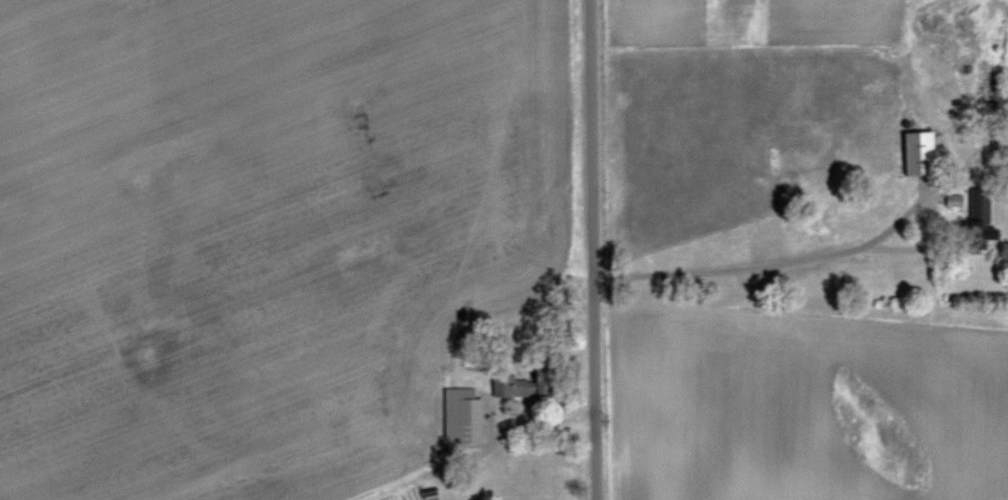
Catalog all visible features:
building: (966, 54)
building: (922, 153)
road: (583, 250)
road: (783, 253)
building: (528, 384)
building: (471, 420)

